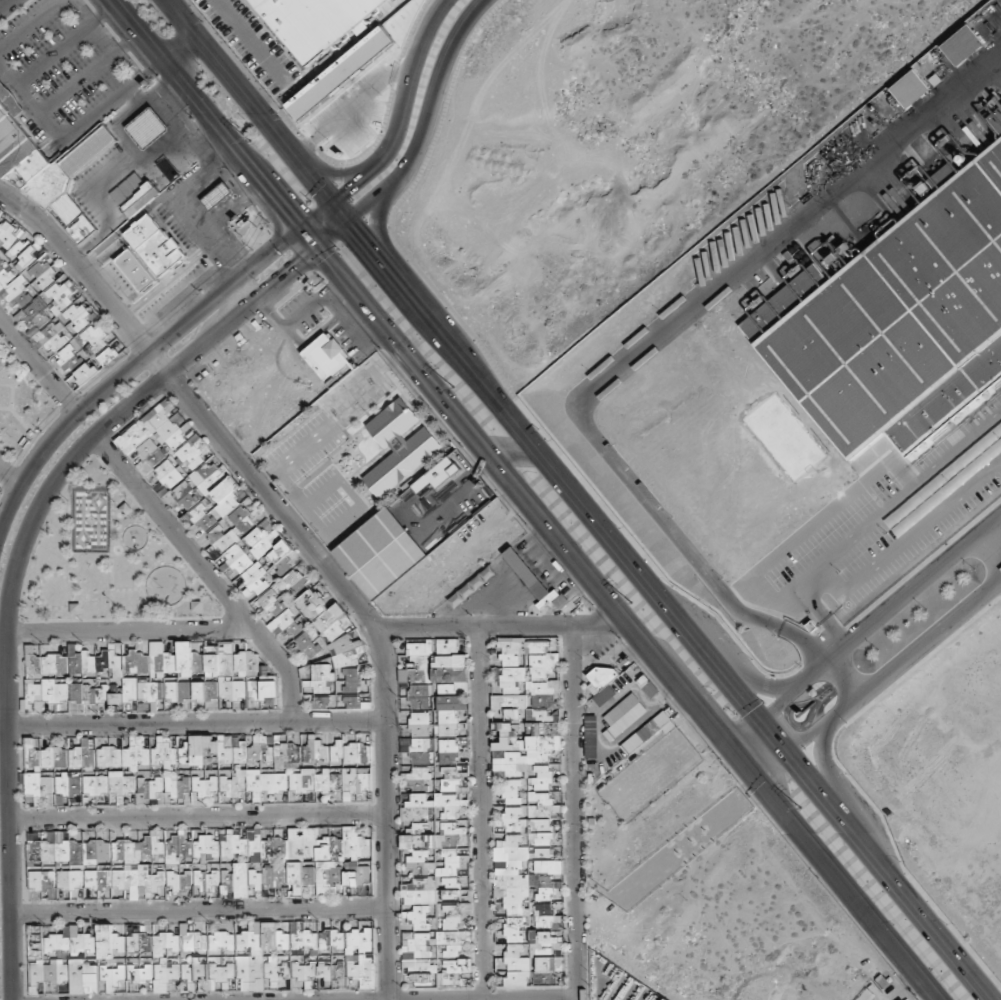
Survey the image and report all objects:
gas station: (145, 124)
gas station: (213, 190)
power tower: (302, 201)
power tower: (450, 385)
power tower: (629, 603)
power tower: (796, 804)

